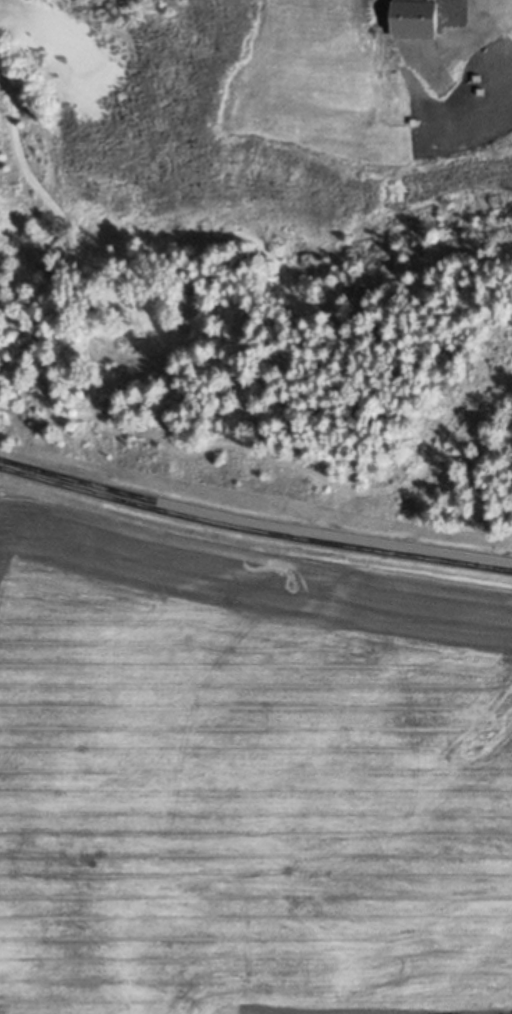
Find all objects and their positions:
road: (253, 527)

